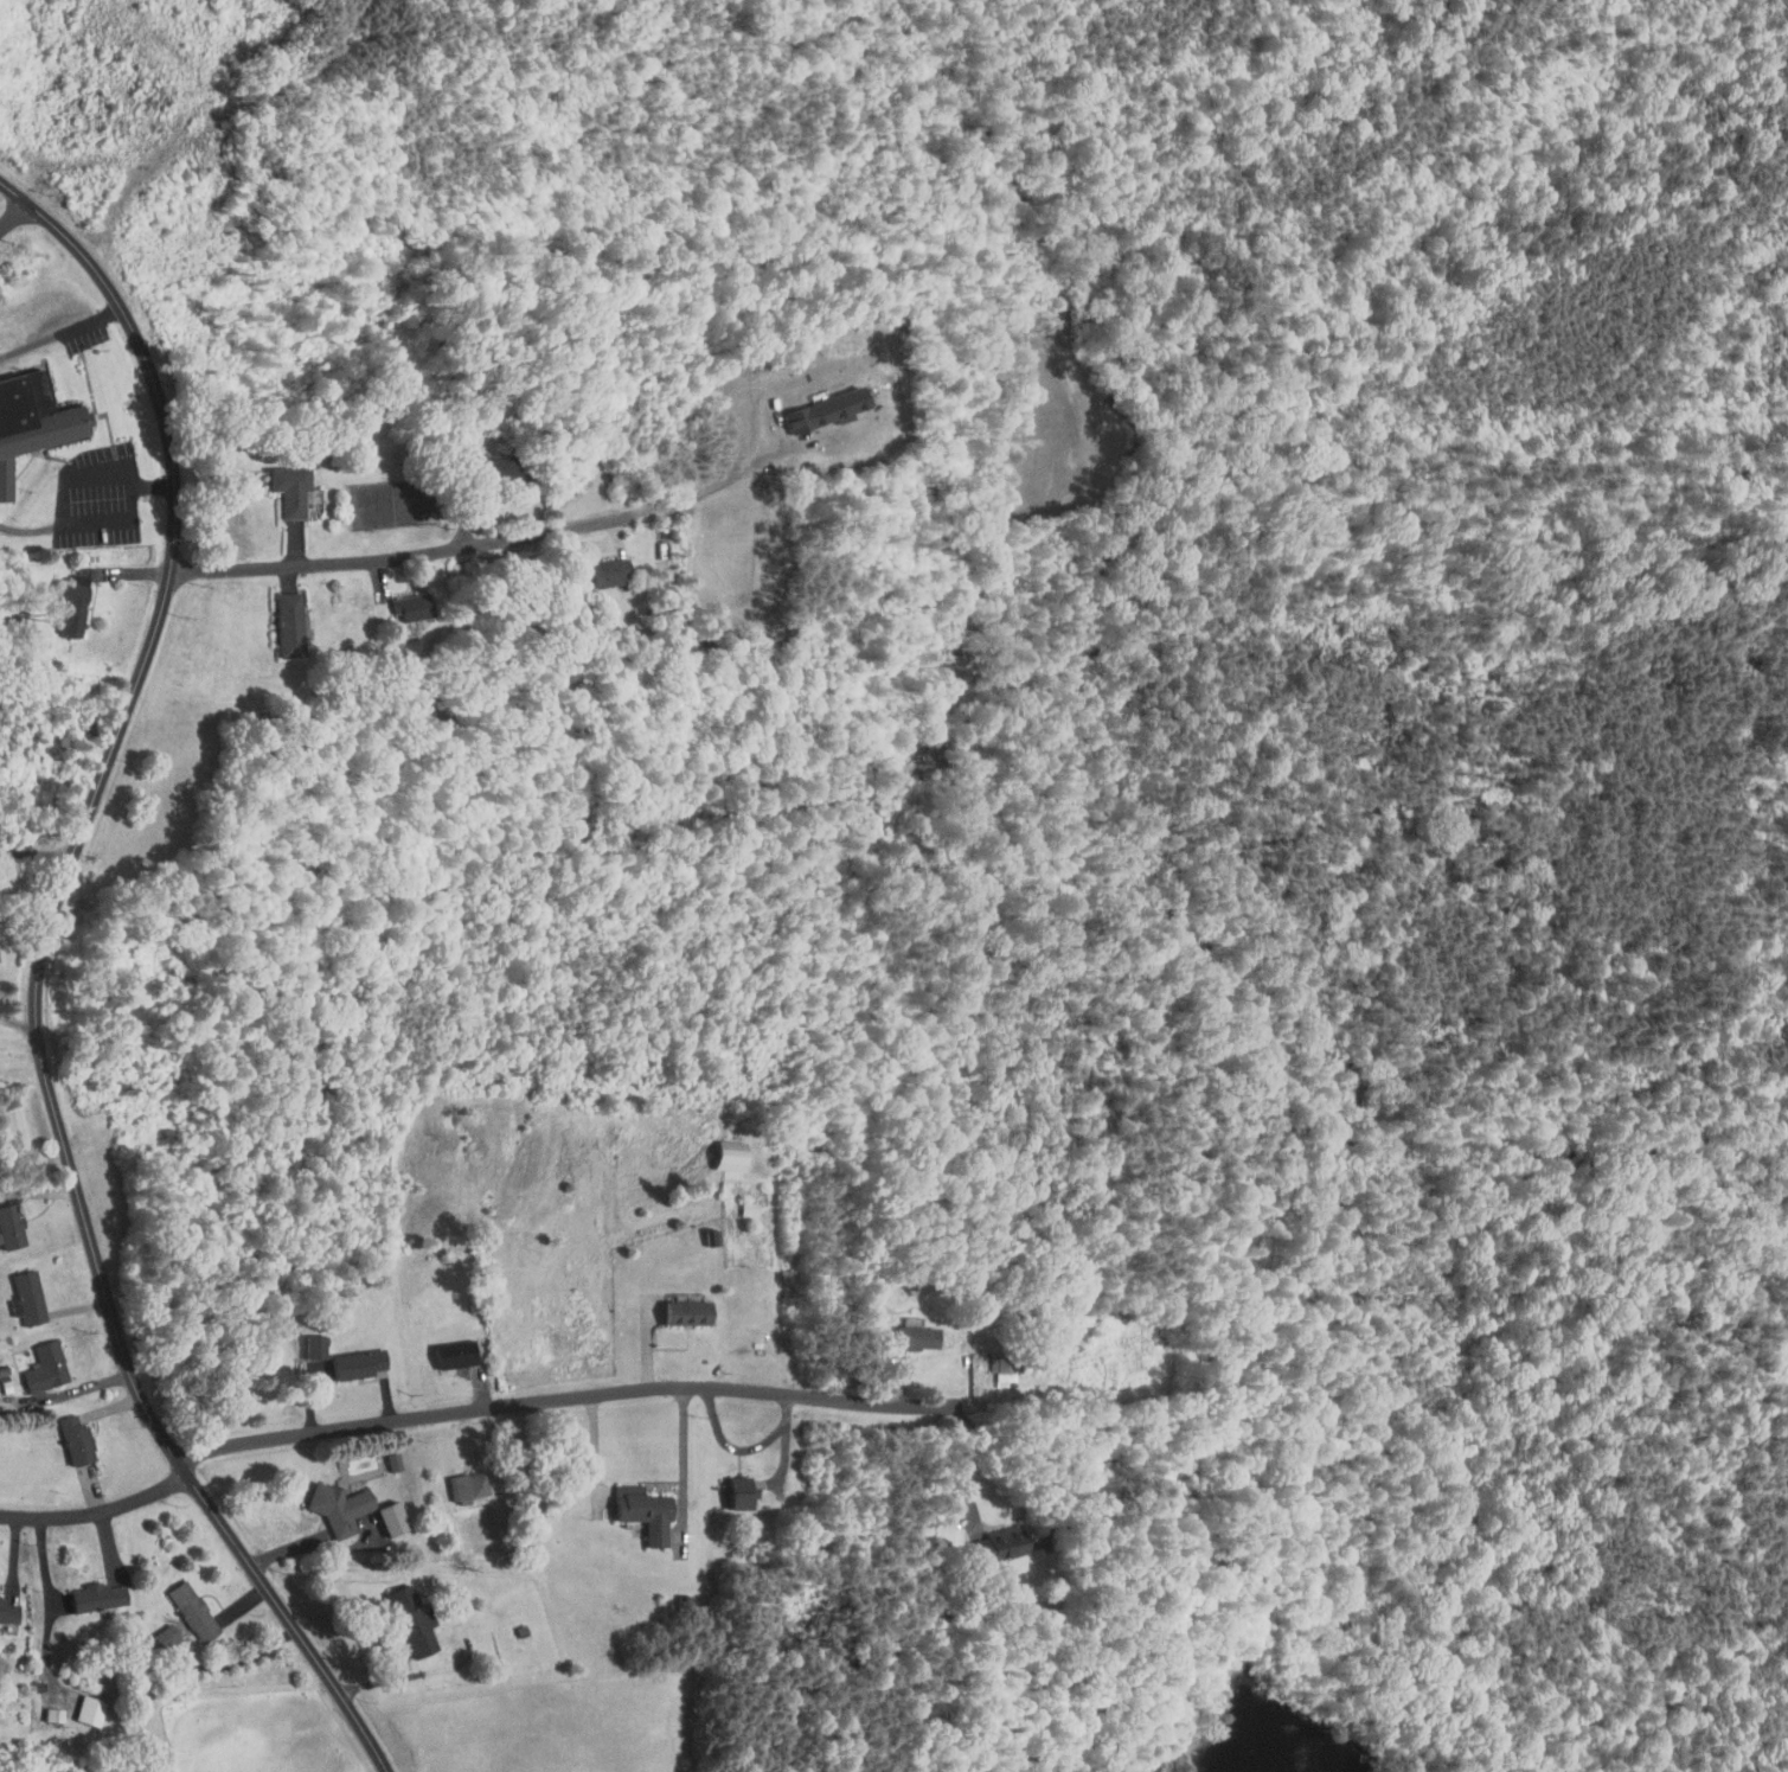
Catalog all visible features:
road: (12, 215)
road: (62, 331)
building: (826, 397)
building: (31, 408)
building: (482, 459)
road: (85, 475)
building: (1, 480)
road: (713, 480)
building: (280, 481)
road: (104, 522)
road: (408, 555)
building: (592, 567)
building: (62, 599)
building: (400, 599)
building: (278, 616)
road: (41, 846)
road: (50, 978)
road: (7, 1016)
road: (7, 1021)
road: (30, 1029)
building: (719, 1149)
building: (5, 1221)
building: (17, 1291)
building: (678, 1305)
building: (905, 1331)
building: (303, 1339)
building: (444, 1346)
building: (347, 1357)
building: (34, 1361)
building: (993, 1363)
road: (77, 1390)
road: (569, 1396)
building: (65, 1434)
road: (746, 1450)
road: (597, 1451)
road: (686, 1451)
building: (382, 1454)
road: (962, 1463)
building: (457, 1479)
building: (730, 1486)
building: (328, 1501)
building: (633, 1505)
road: (102, 1509)
building: (382, 1511)
building: (989, 1536)
road: (323, 1544)
building: (85, 1589)
road: (53, 1605)
building: (181, 1605)
building: (4, 1606)
building: (402, 1614)
building: (153, 1630)
road: (242, 1661)
road: (427, 1670)
building: (78, 1703)
building: (41, 1708)

